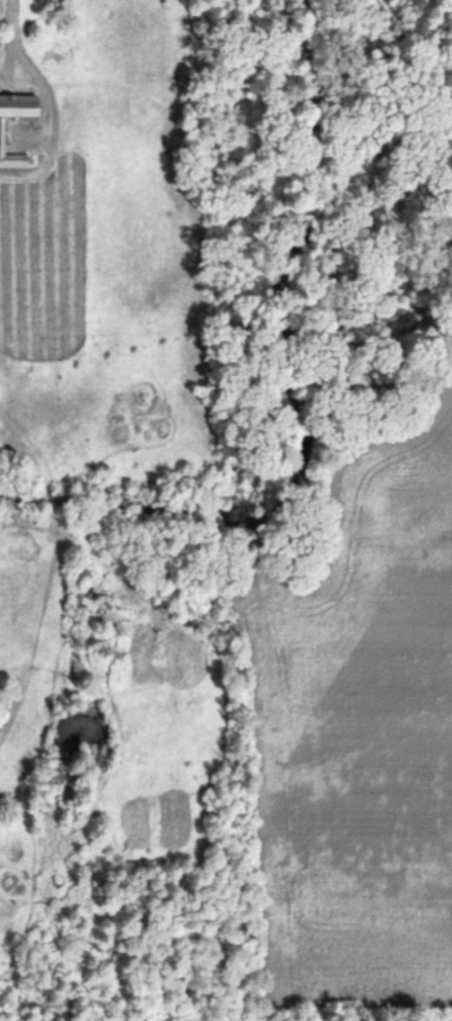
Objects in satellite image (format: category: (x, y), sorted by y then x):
building: (2, 135)

